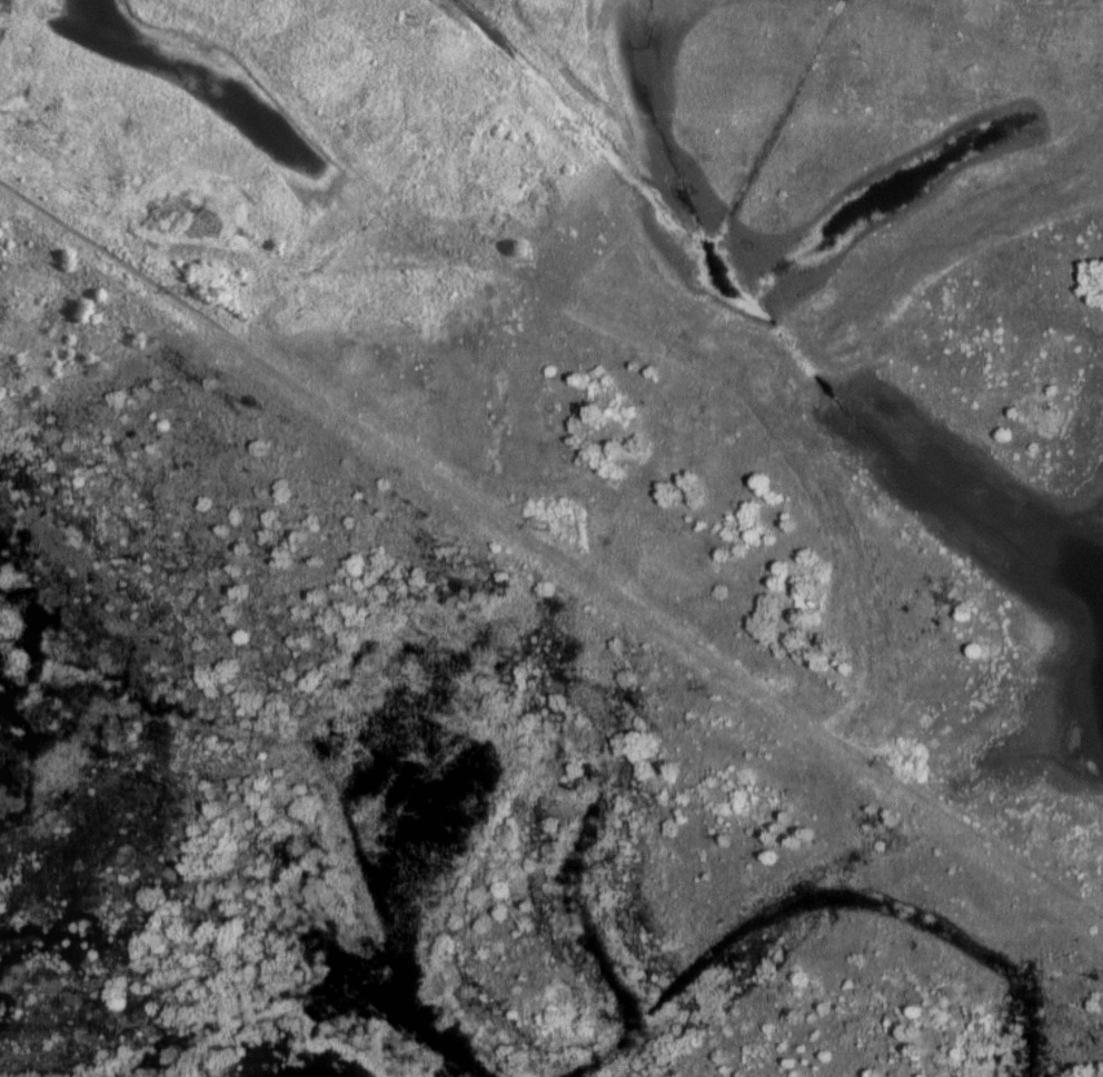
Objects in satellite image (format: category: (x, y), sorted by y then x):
power tower: (195, 291)
power tower: (536, 521)
power tower: (897, 767)

